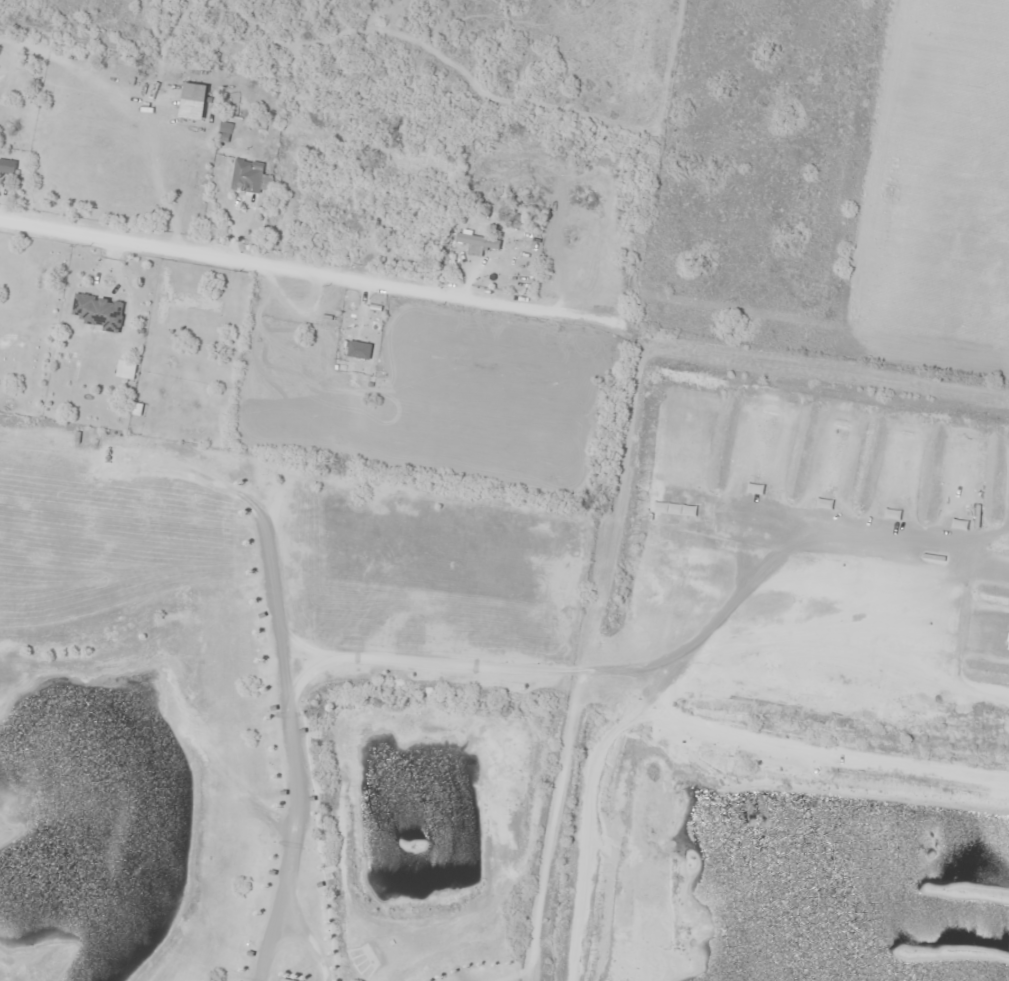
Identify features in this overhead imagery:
building: (194, 92)
building: (7, 167)
building: (246, 176)
building: (477, 241)
building: (575, 260)
road: (229, 261)
building: (99, 312)
building: (125, 369)

